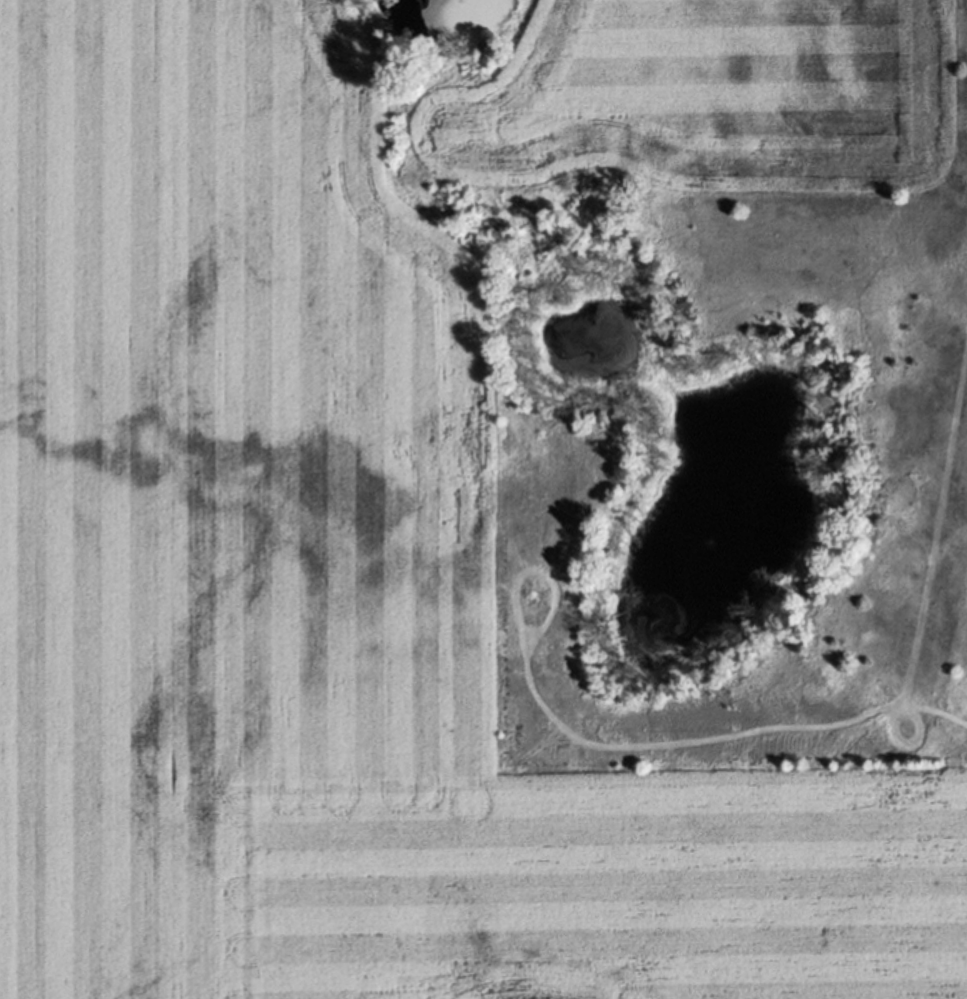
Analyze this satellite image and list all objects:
airport: (918, 377)
airport runway: (949, 495)

